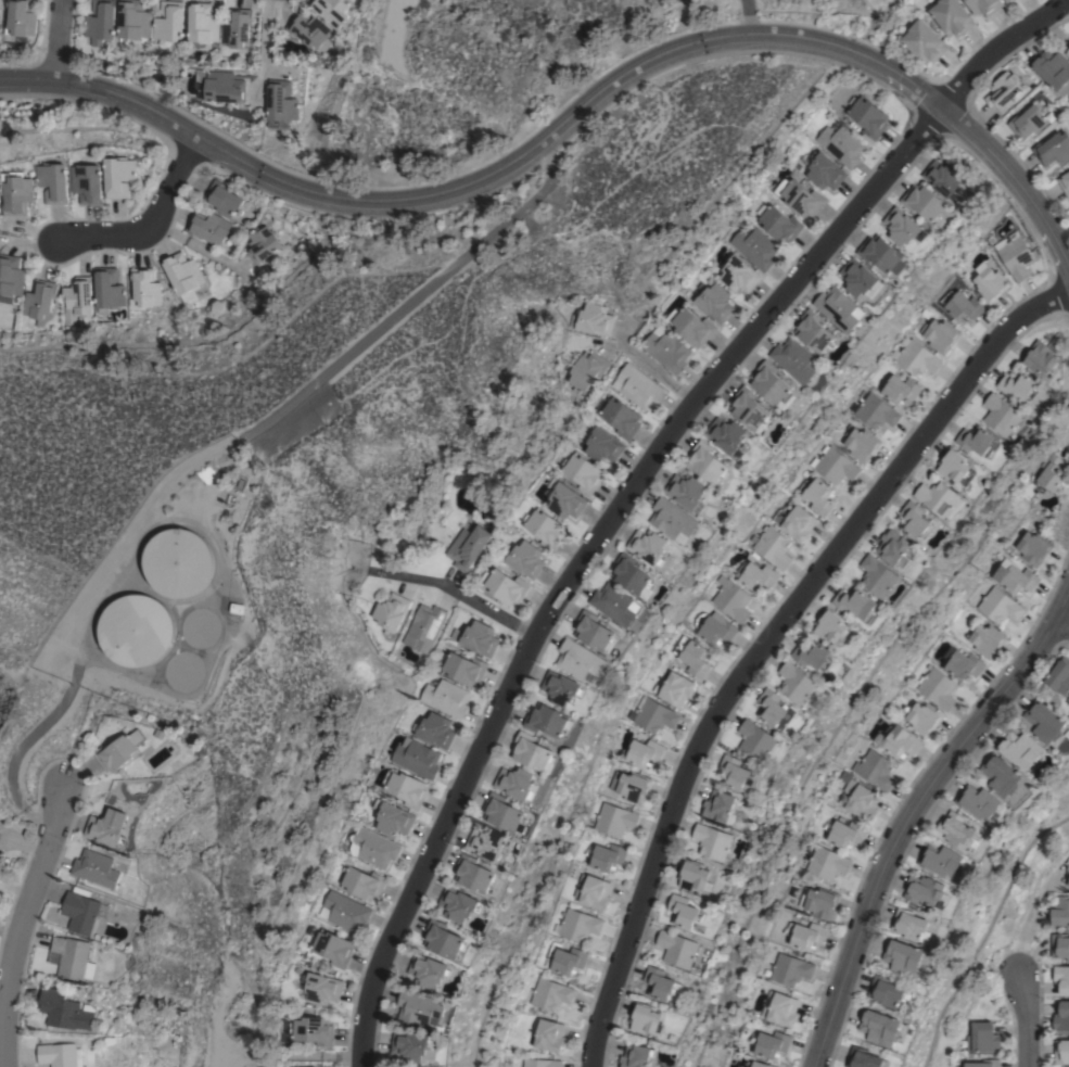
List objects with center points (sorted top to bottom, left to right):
building: (983, 5)
building: (330, 11)
building: (951, 16)
building: (23, 17)
road: (745, 17)
building: (133, 20)
building: (102, 23)
building: (168, 23)
building: (201, 25)
building: (236, 27)
building: (308, 31)
road: (56, 40)
building: (924, 41)
building: (1068, 51)
building: (1053, 68)
building: (224, 87)
building: (1003, 91)
building: (280, 101)
building: (868, 117)
building: (1028, 122)
building: (841, 144)
building: (1053, 149)
building: (825, 170)
road: (484, 175)
building: (120, 176)
building: (944, 178)
road: (1014, 181)
building: (56, 182)
building: (89, 182)
building: (1065, 183)
building: (21, 192)
building: (799, 196)
building: (222, 198)
building: (924, 201)
road: (147, 221)
building: (777, 223)
building: (903, 226)
building: (207, 227)
building: (260, 244)
building: (754, 247)
building: (882, 253)
building: (1015, 255)
building: (738, 274)
building: (181, 275)
building: (10, 277)
building: (861, 279)
building: (989, 282)
building: (107, 288)
building: (143, 289)
building: (78, 295)
building: (39, 301)
building: (713, 302)
building: (962, 305)
building: (840, 308)
building: (928, 316)
building: (591, 319)
building: (689, 325)
building: (815, 331)
building: (940, 335)
building: (665, 348)
building: (915, 356)
building: (1041, 358)
building: (797, 359)
road: (651, 368)
building: (586, 370)
building: (772, 383)
building: (636, 385)
building: (1019, 385)
building: (901, 389)
building: (750, 409)
building: (875, 410)
building: (1003, 416)
building: (621, 418)
building: (726, 434)
building: (978, 440)
building: (860, 443)
building: (602, 445)
road: (213, 450)
building: (707, 462)
building: (835, 465)
building: (955, 466)
building: (582, 472)
building: (803, 472)
building: (1052, 473)
road: (641, 488)
building: (686, 491)
building: (817, 495)
building: (563, 499)
building: (941, 499)
building: (673, 520)
building: (794, 520)
building: (916, 521)
building: (544, 528)
building: (466, 546)
building: (648, 546)
building: (773, 547)
building: (1033, 547)
building: (895, 548)
building: (524, 559)
building: (177, 562)
building: (631, 573)
building: (879, 575)
building: (758, 576)
building: (1015, 576)
building: (502, 586)
road: (463, 596)
building: (731, 599)
building: (857, 604)
building: (613, 605)
building: (998, 606)
building: (391, 612)
road: (1060, 623)
building: (831, 625)
building: (714, 626)
building: (196, 627)
building: (423, 627)
building: (135, 630)
building: (594, 632)
building: (476, 637)
building: (987, 639)
road: (773, 640)
building: (691, 656)
building: (815, 656)
building: (580, 660)
building: (962, 663)
building: (462, 669)
building: (182, 671)
building: (1059, 676)
building: (798, 683)
building: (560, 688)
building: (675, 688)
building: (937, 688)
building: (445, 697)
building: (775, 710)
building: (652, 714)
building: (921, 717)
building: (546, 720)
building: (1043, 721)
building: (434, 729)
building: (898, 740)
building: (759, 741)
building: (1019, 749)
building: (120, 750)
building: (531, 751)
building: (641, 752)
building: (855, 754)
building: (416, 758)
building: (875, 770)
building: (737, 773)
building: (1000, 775)
building: (514, 782)
building: (631, 786)
building: (404, 788)
building: (858, 799)
building: (977, 801)
building: (722, 806)
road: (912, 808)
building: (501, 812)
building: (391, 818)
building: (614, 820)
building: (107, 826)
building: (958, 831)
building: (844, 833)
building: (713, 840)
building: (486, 842)
building: (372, 848)
building: (0, 855)
building: (606, 856)
building: (940, 860)
building: (826, 863)
building: (1068, 867)
building: (96, 868)
building: (472, 874)
building: (693, 874)
building: (361, 882)
building: (1068, 882)
building: (925, 889)
building: (591, 891)
building: (819, 902)
building: (457, 904)
building: (342, 911)
building: (685, 912)
building: (1058, 912)
building: (80, 913)
building: (909, 924)
building: (576, 925)
road: (22, 929)
building: (309, 930)
building: (805, 935)
building: (442, 939)
building: (1059, 945)
building: (332, 948)
building: (679, 949)
building: (71, 957)
building: (904, 957)
building: (564, 960)
building: (790, 968)
building: (427, 970)
building: (1061, 978)
building: (662, 985)
building: (320, 988)
building: (887, 991)
building: (549, 993)
building: (909, 995)
building: (418, 1007)
building: (64, 1009)
building: (782, 1009)
building: (1061, 1016)
building: (646, 1018)
road: (1023, 1018)
building: (879, 1027)
building: (313, 1030)
building: (549, 1034)
building: (982, 1037)
building: (674, 1038)
building: (769, 1043)
building: (409, 1045)
building: (1061, 1052)
building: (56, 1054)
building: (637, 1056)
building: (865, 1058)
building: (539, 1063)
building: (983, 1063)
building: (758, 1064)

